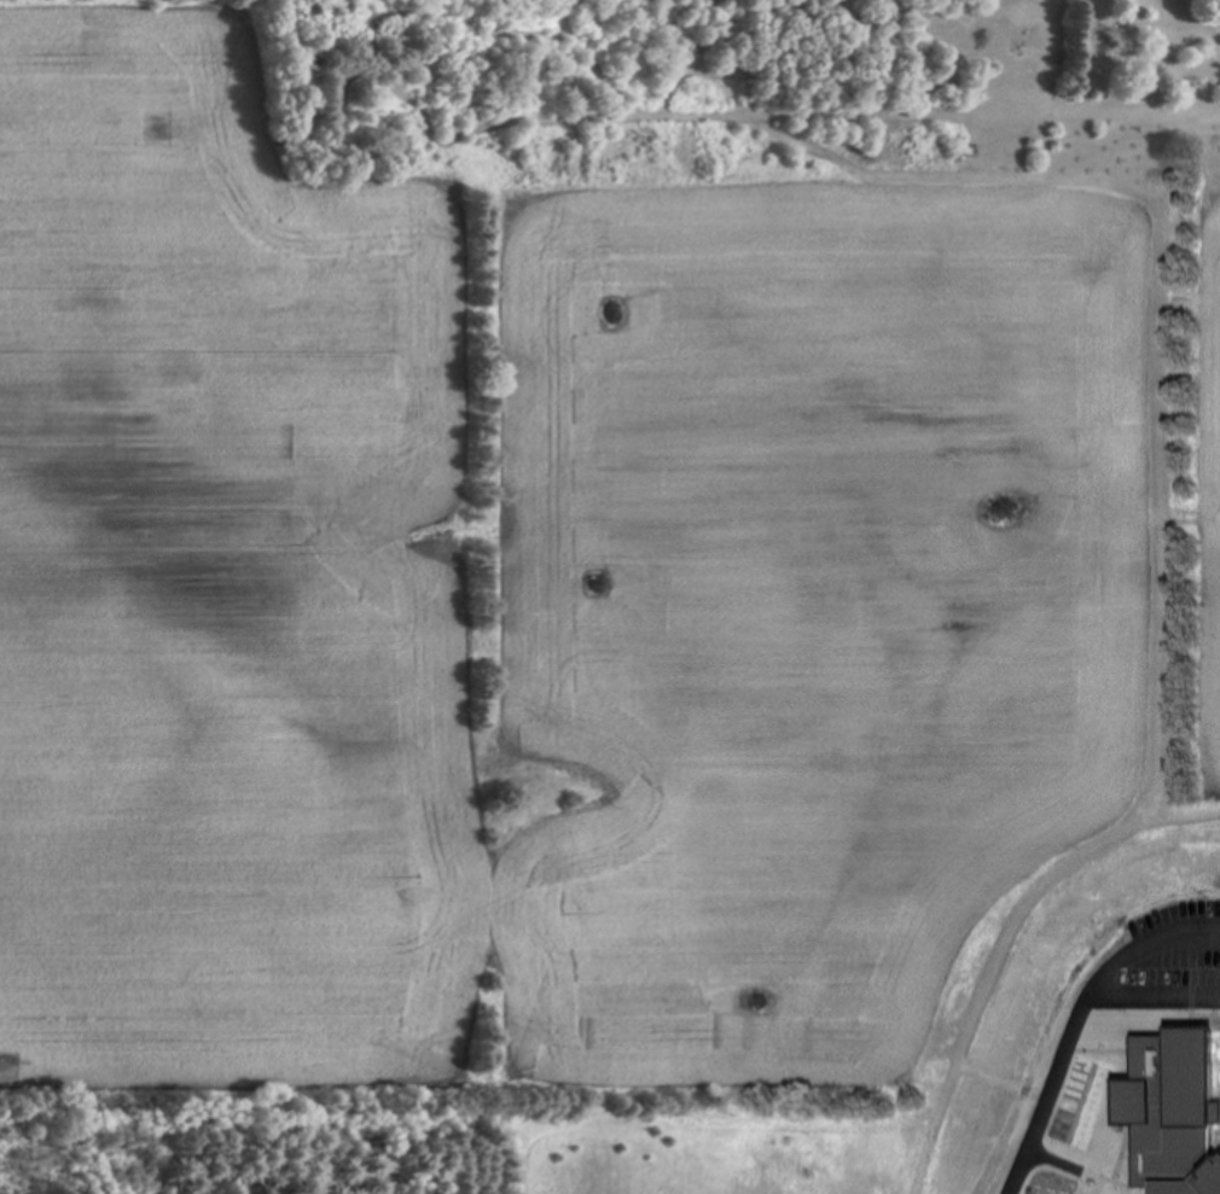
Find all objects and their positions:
parking lot: (1155, 956)
road: (1145, 994)
road: (1061, 1012)
building: (1167, 1112)

